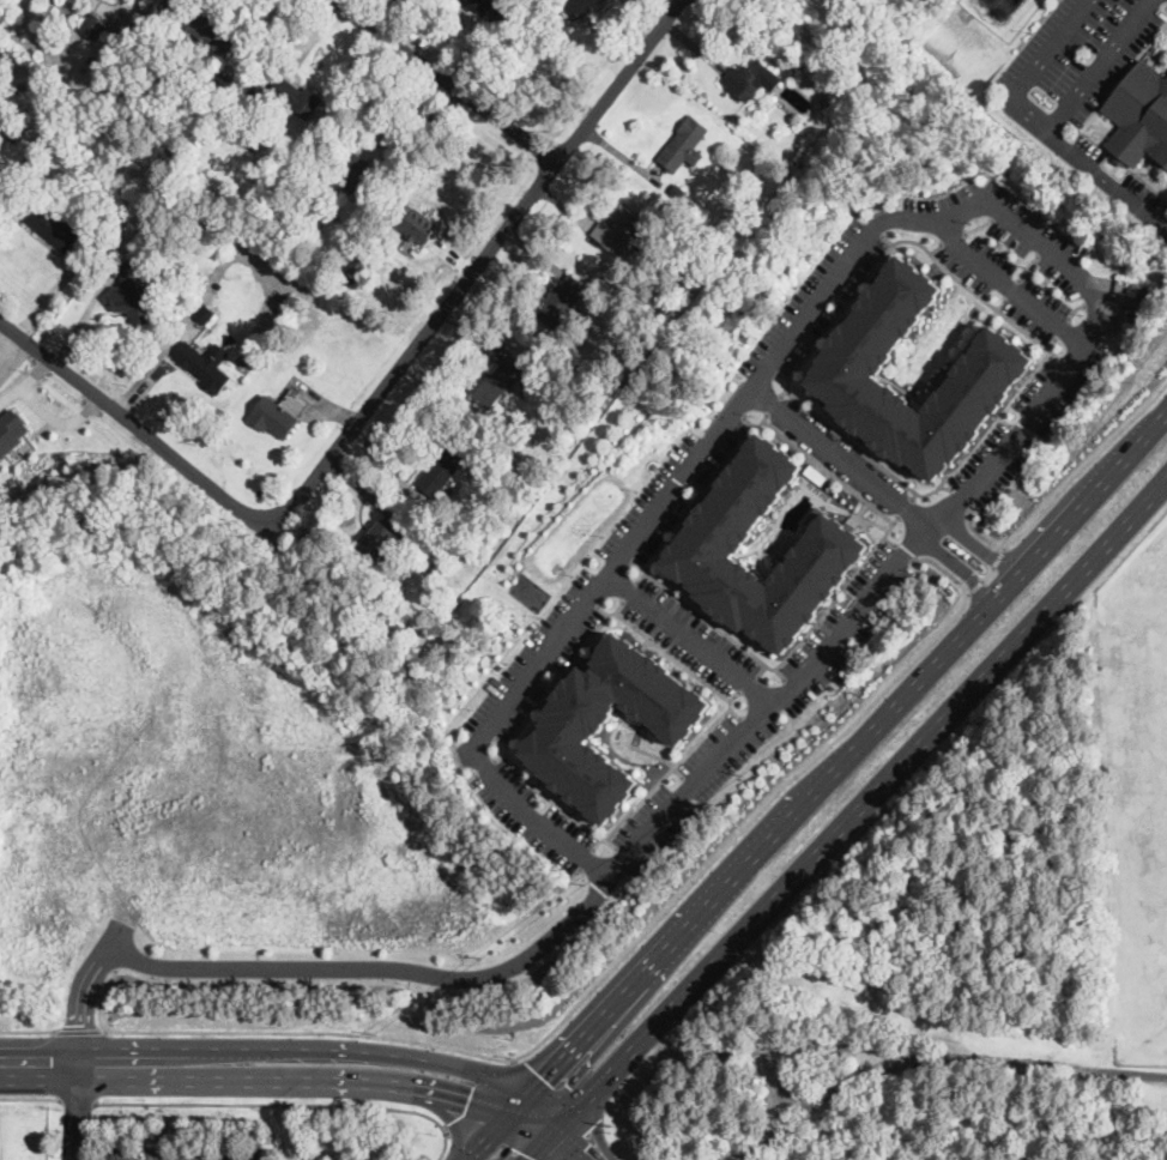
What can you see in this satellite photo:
building: (478, 5)
building: (583, 7)
building: (96, 25)
building: (208, 28)
building: (792, 73)
road: (448, 80)
building: (751, 80)
building: (222, 83)
building: (297, 97)
building: (254, 115)
building: (1139, 115)
road: (1044, 129)
building: (16, 133)
building: (685, 145)
building: (359, 177)
road: (1102, 177)
building: (678, 192)
building: (300, 199)
building: (52, 223)
road: (1161, 224)
building: (417, 225)
building: (619, 231)
building: (107, 236)
road: (480, 262)
building: (356, 267)
building: (611, 268)
road: (1009, 285)
building: (134, 294)
building: (562, 301)
building: (206, 313)
building: (205, 368)
building: (992, 369)
road: (25, 381)
building: (501, 382)
building: (556, 386)
building: (282, 412)
road: (56, 419)
road: (133, 422)
building: (11, 430)
road: (841, 457)
building: (445, 466)
building: (492, 473)
road: (1062, 484)
building: (380, 539)
road: (978, 540)
building: (842, 548)
road: (998, 555)
road: (957, 563)
road: (987, 570)
road: (973, 584)
road: (976, 616)
road: (690, 638)
road: (494, 720)
building: (575, 726)
road: (863, 800)
road: (766, 802)
road: (652, 960)
road: (310, 967)
road: (101, 996)
road: (28, 1031)
road: (79, 1031)
road: (308, 1031)
road: (338, 1051)
road: (939, 1059)
road: (86, 1067)
road: (333, 1074)
traffic signals: (544, 1076)
road: (558, 1089)
road: (389, 1092)
traffic signals: (470, 1094)
road: (29, 1096)
road: (482, 1098)
road: (77, 1100)
road: (504, 1100)
road: (290, 1101)
road: (74, 1112)
road: (537, 1116)
traffic signals: (455, 1119)
road: (141, 1122)
road: (490, 1132)
road: (498, 1138)
traffic signals: (580, 1140)
road: (587, 1140)
road: (582, 1141)
road: (540, 1142)
road: (122, 1153)
parking lot: (183, 1154)
traffic signals: (531, 1154)

